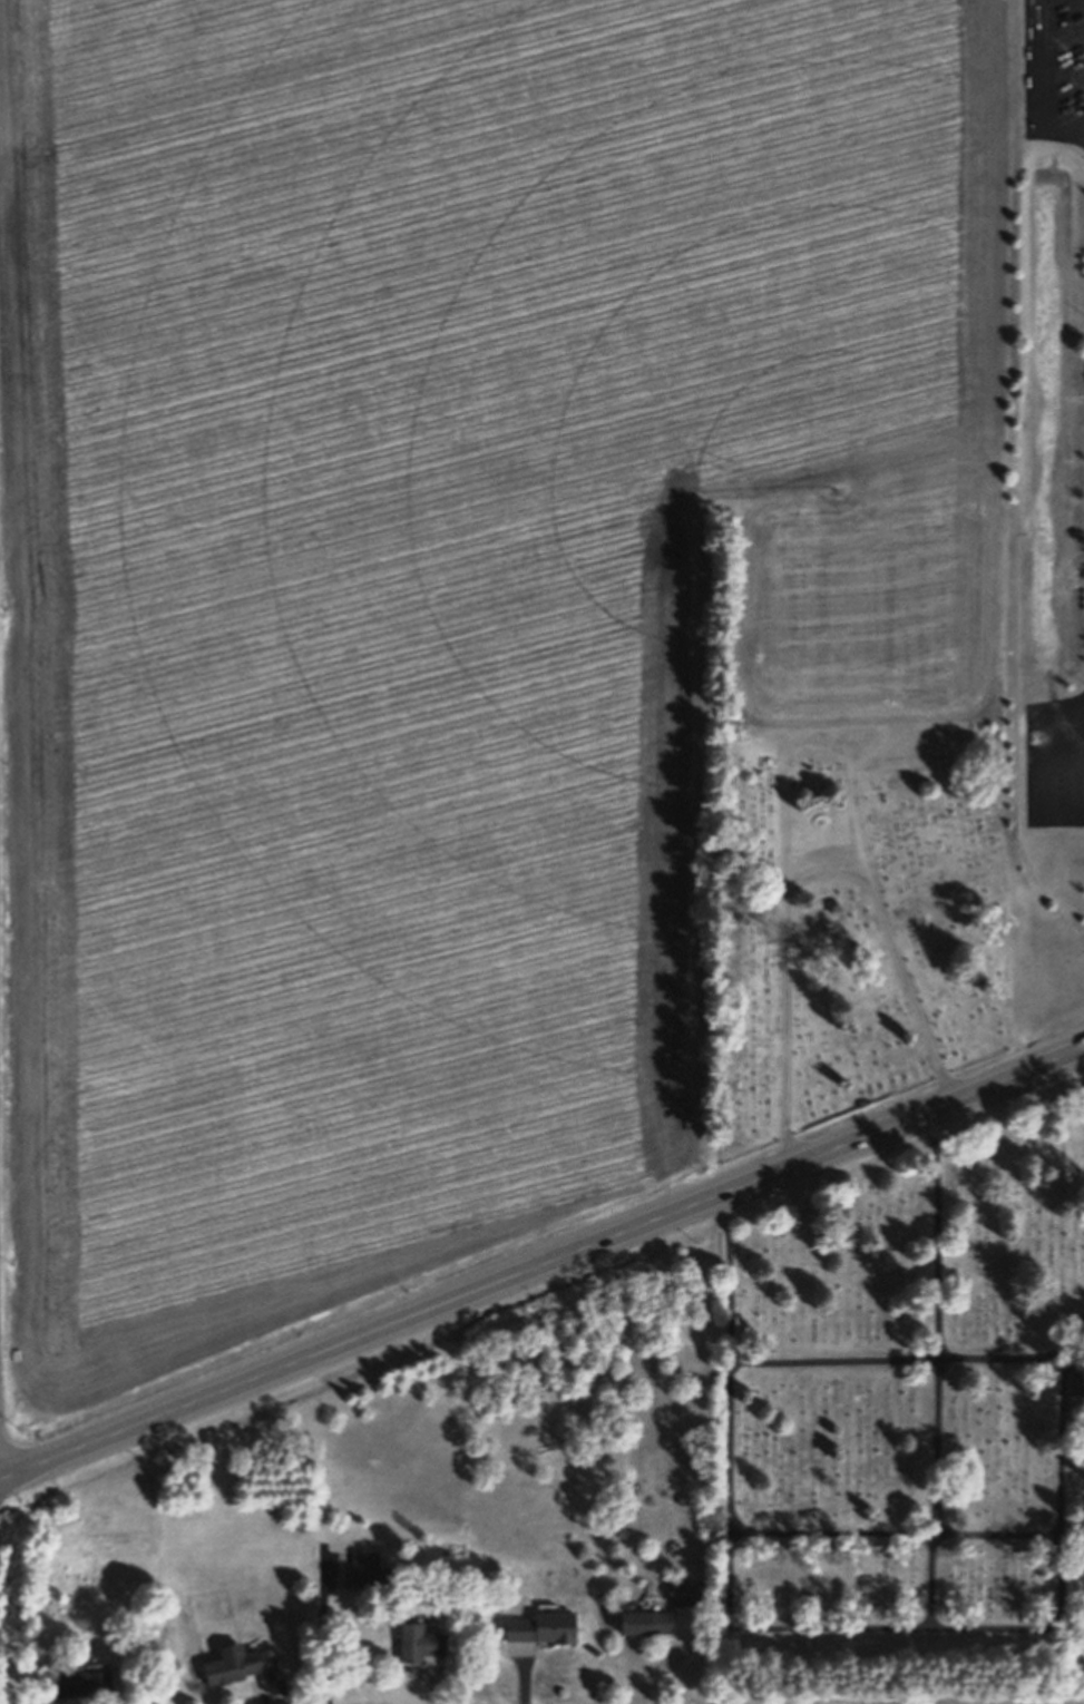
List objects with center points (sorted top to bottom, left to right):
crop: (448, 598)
road: (811, 881)
park: (866, 931)
road: (1082, 1062)
road: (541, 1264)
road: (908, 1361)
road: (940, 1369)
park: (904, 1401)
building: (621, 1531)
road: (893, 1534)
building: (368, 1568)
building: (686, 1592)
building: (644, 1620)
building: (543, 1627)
road: (826, 1629)
building: (419, 1642)
building: (231, 1664)
building: (84, 1683)
building: (37, 1703)

